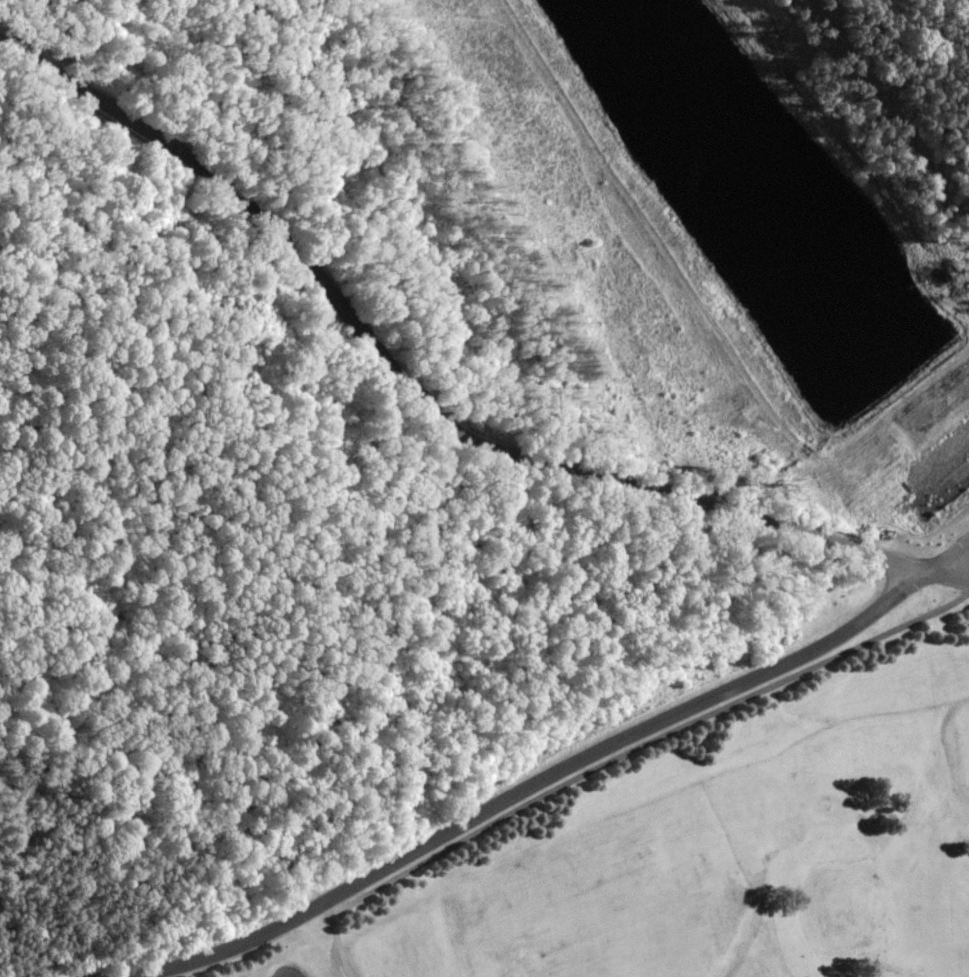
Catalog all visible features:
road: (888, 109)
road: (713, 328)
road: (418, 400)
road: (957, 555)
road: (957, 570)
road: (466, 641)
road: (645, 742)
road: (527, 783)
road: (110, 793)
park: (715, 853)
road: (292, 880)
road: (338, 944)

